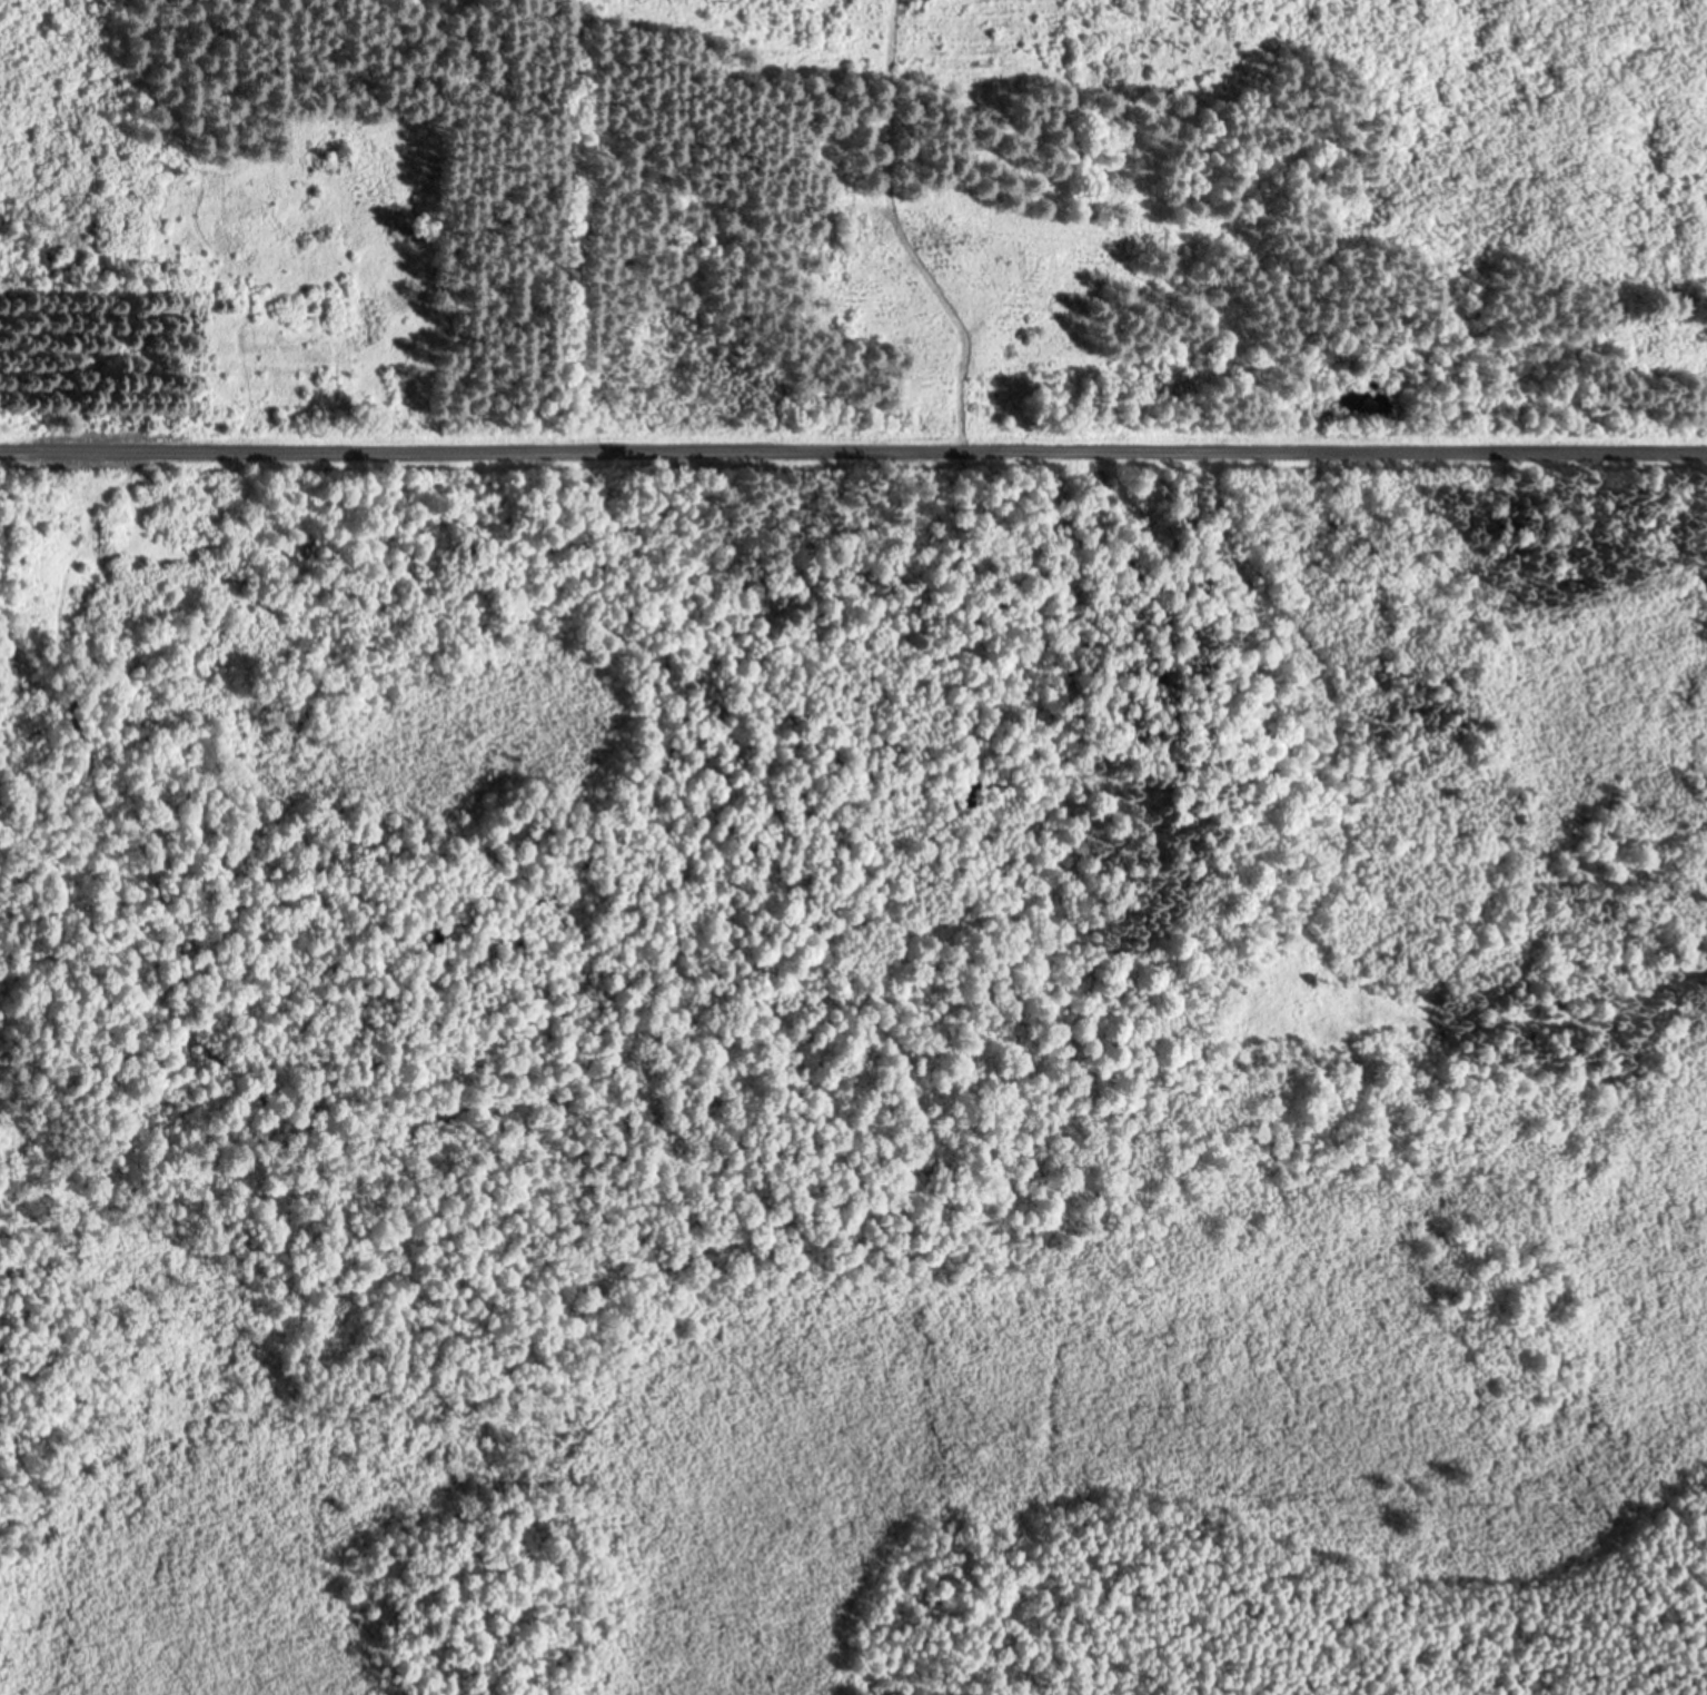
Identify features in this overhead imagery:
road: (853, 442)

